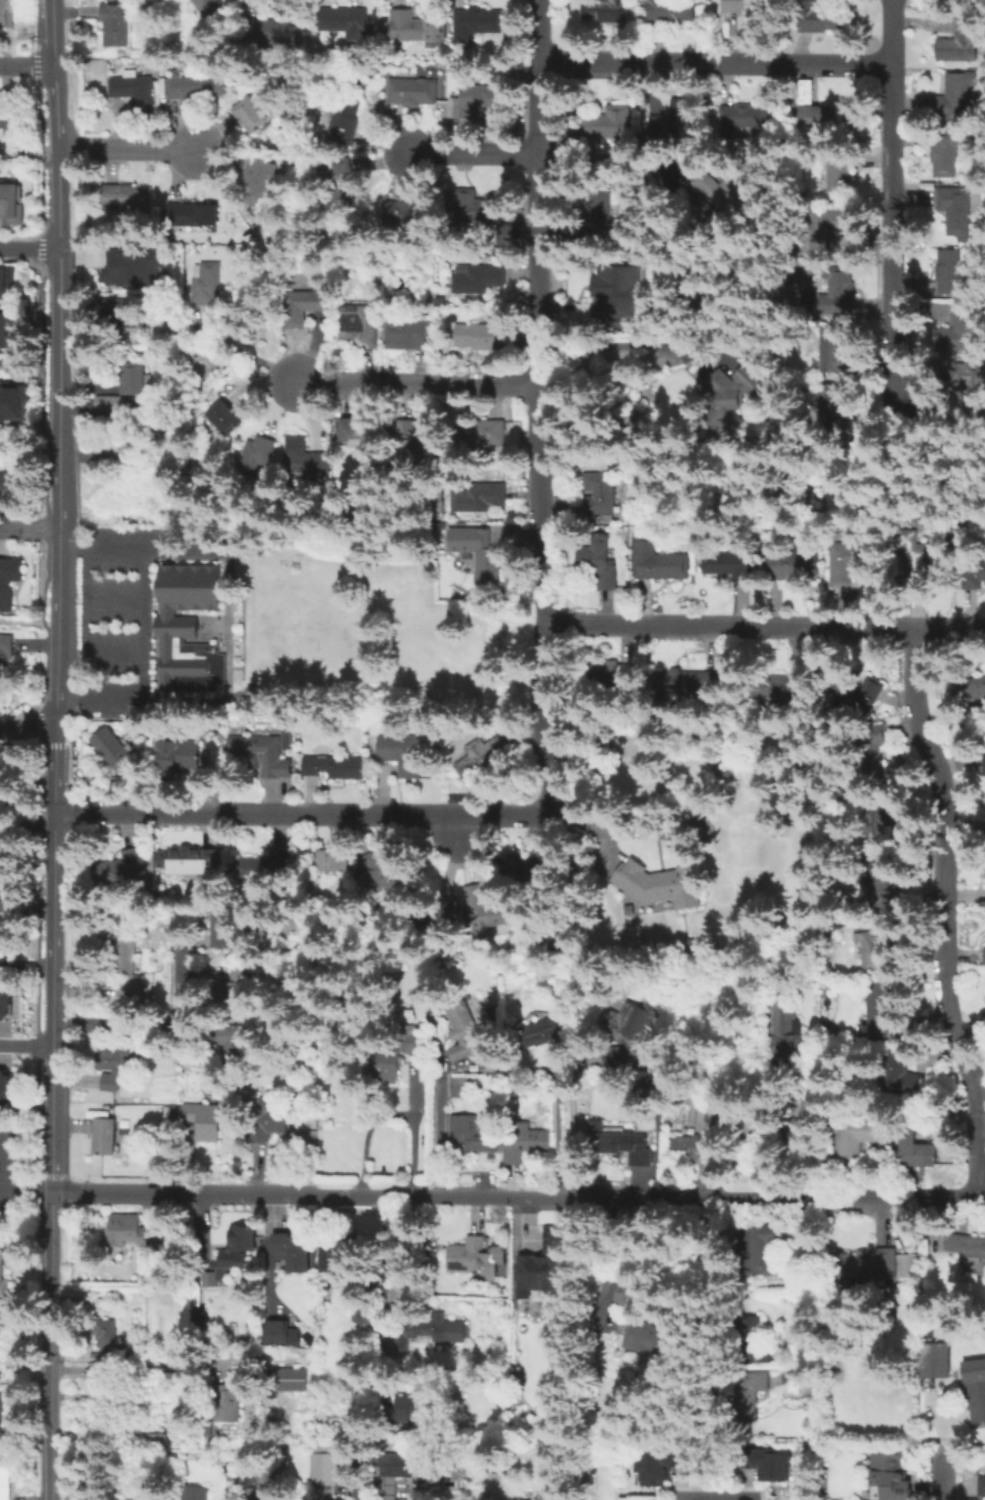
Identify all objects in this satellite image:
building: (212, 10)
building: (610, 11)
building: (670, 11)
building: (745, 11)
building: (9, 14)
building: (819, 18)
building: (346, 22)
building: (477, 26)
building: (115, 27)
building: (414, 30)
building: (268, 34)
building: (960, 43)
road: (714, 61)
road: (27, 66)
road: (55, 74)
building: (191, 88)
building: (135, 92)
building: (413, 92)
building: (956, 96)
building: (477, 104)
building: (252, 115)
building: (8, 116)
building: (820, 119)
building: (742, 121)
building: (345, 122)
building: (610, 124)
building: (671, 124)
road: (125, 149)
building: (949, 151)
road: (472, 152)
road: (612, 165)
building: (841, 175)
building: (259, 178)
building: (341, 181)
building: (717, 189)
building: (125, 198)
building: (11, 203)
road: (891, 204)
building: (476, 209)
building: (957, 210)
building: (408, 213)
building: (194, 216)
building: (602, 217)
building: (831, 227)
building: (508, 234)
road: (30, 247)
building: (120, 264)
building: (950, 274)
building: (478, 280)
building: (6, 282)
building: (208, 285)
building: (616, 285)
road: (60, 288)
building: (835, 295)
building: (305, 307)
building: (119, 313)
building: (360, 326)
building: (5, 331)
building: (958, 331)
building: (410, 333)
building: (481, 338)
road: (243, 350)
building: (829, 354)
building: (133, 377)
building: (972, 380)
road: (416, 382)
building: (730, 399)
road: (539, 400)
building: (13, 401)
building: (107, 405)
building: (832, 413)
building: (223, 418)
building: (356, 431)
building: (483, 433)
building: (411, 440)
building: (258, 454)
building: (306, 458)
building: (493, 472)
building: (4, 482)
building: (600, 493)
building: (479, 499)
road: (29, 528)
road: (188, 545)
building: (479, 554)
building: (918, 555)
building: (660, 564)
building: (729, 565)
building: (847, 565)
building: (795, 566)
building: (600, 568)
building: (975, 575)
building: (5, 587)
road: (116, 593)
road: (144, 620)
road: (87, 624)
road: (762, 624)
building: (189, 631)
building: (6, 650)
building: (605, 672)
building: (690, 682)
building: (972, 690)
building: (785, 691)
building: (856, 692)
road: (28, 731)
building: (286, 736)
building: (873, 750)
building: (265, 753)
building: (116, 754)
building: (403, 755)
building: (179, 757)
building: (481, 757)
building: (983, 764)
building: (337, 766)
road: (55, 810)
road: (305, 812)
building: (882, 820)
building: (984, 826)
building: (4, 834)
building: (3, 859)
building: (189, 862)
building: (335, 862)
building: (270, 867)
building: (121, 868)
building: (529, 868)
building: (381, 873)
building: (883, 883)
building: (659, 885)
building: (4, 912)
building: (489, 912)
road: (947, 913)
building: (225, 929)
building: (879, 949)
building: (124, 956)
building: (984, 956)
building: (3, 968)
building: (232, 989)
building: (4, 1001)
building: (984, 1009)
building: (883, 1014)
road: (141, 1021)
building: (786, 1029)
building: (544, 1031)
building: (630, 1034)
building: (466, 1036)
building: (231, 1042)
building: (410, 1043)
road: (27, 1046)
building: (113, 1067)
building: (385, 1069)
building: (904, 1076)
building: (4, 1085)
building: (459, 1087)
building: (512, 1089)
building: (697, 1111)
building: (205, 1121)
building: (267, 1122)
road: (572, 1124)
road: (438, 1127)
road: (412, 1128)
road: (555, 1134)
road: (364, 1136)
building: (857, 1137)
building: (105, 1138)
building: (468, 1138)
building: (533, 1142)
building: (626, 1146)
building: (686, 1146)
building: (916, 1154)
road: (5, 1164)
parking lot: (13, 1168)
park: (21, 1169)
road: (29, 1194)
road: (518, 1196)
road: (33, 1202)
building: (133, 1232)
building: (241, 1237)
building: (966, 1245)
building: (293, 1252)
road: (394, 1252)
building: (761, 1252)
building: (332, 1254)
building: (469, 1256)
building: (971, 1265)
building: (544, 1266)
building: (225, 1268)
building: (862, 1268)
building: (4, 1282)
road: (793, 1286)
building: (628, 1293)
building: (202, 1318)
building: (428, 1329)
building: (278, 1333)
building: (107, 1334)
building: (645, 1336)
building: (755, 1341)
road: (52, 1346)
building: (933, 1359)
road: (155, 1369)
building: (291, 1380)
building: (752, 1387)
building: (977, 1402)
building: (110, 1406)
building: (228, 1408)
building: (407, 1408)
building: (4, 1411)
building: (770, 1462)
building: (324, 1464)
building: (661, 1464)
building: (403, 1466)
building: (271, 1474)
building: (890, 1477)
road: (943, 1478)
building: (5, 1483)
building: (503, 1487)
building: (982, 1488)
building: (193, 1493)
building: (257, 1495)
road: (361, 1498)
building: (141, 1499)
building: (328, 1499)

